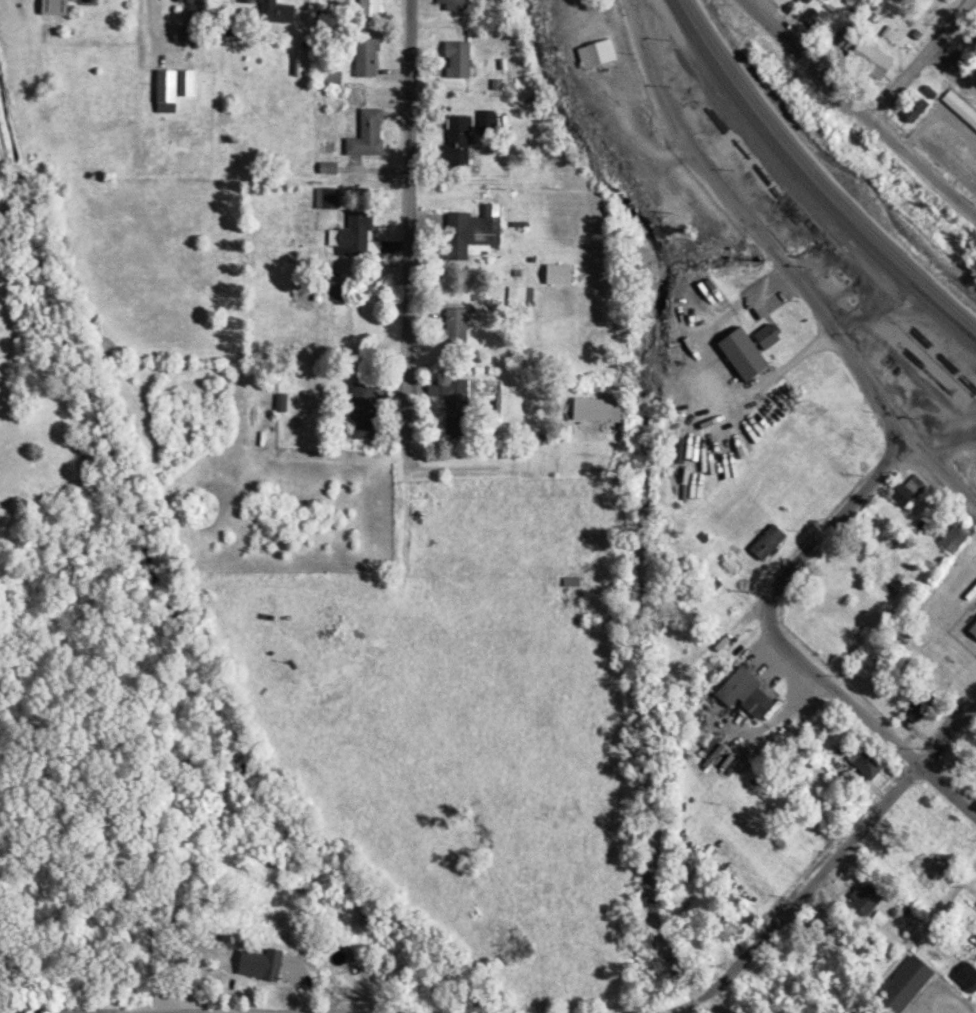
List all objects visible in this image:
building: (87, 0)
building: (787, 0)
building: (453, 5)
building: (369, 7)
building: (53, 8)
building: (276, 12)
building: (815, 20)
building: (193, 22)
building: (596, 55)
building: (868, 57)
building: (367, 59)
road: (918, 59)
building: (458, 61)
road: (950, 76)
building: (187, 84)
building: (166, 87)
road: (857, 110)
building: (959, 110)
building: (916, 111)
building: (486, 123)
building: (368, 136)
building: (458, 141)
building: (328, 169)
railway: (809, 183)
building: (325, 200)
road: (406, 228)
building: (477, 228)
building: (355, 237)
road: (782, 263)
building: (973, 264)
building: (559, 276)
building: (515, 298)
building: (456, 331)
building: (768, 337)
building: (747, 356)
building: (451, 395)
building: (599, 411)
building: (908, 495)
road: (834, 518)
building: (957, 537)
building: (974, 631)
road: (834, 690)
building: (751, 694)
building: (865, 765)
road: (947, 791)
road: (826, 863)
building: (866, 899)
building: (263, 965)
building: (966, 978)
building: (902, 982)
road: (114, 1012)
road: (164, 1012)

